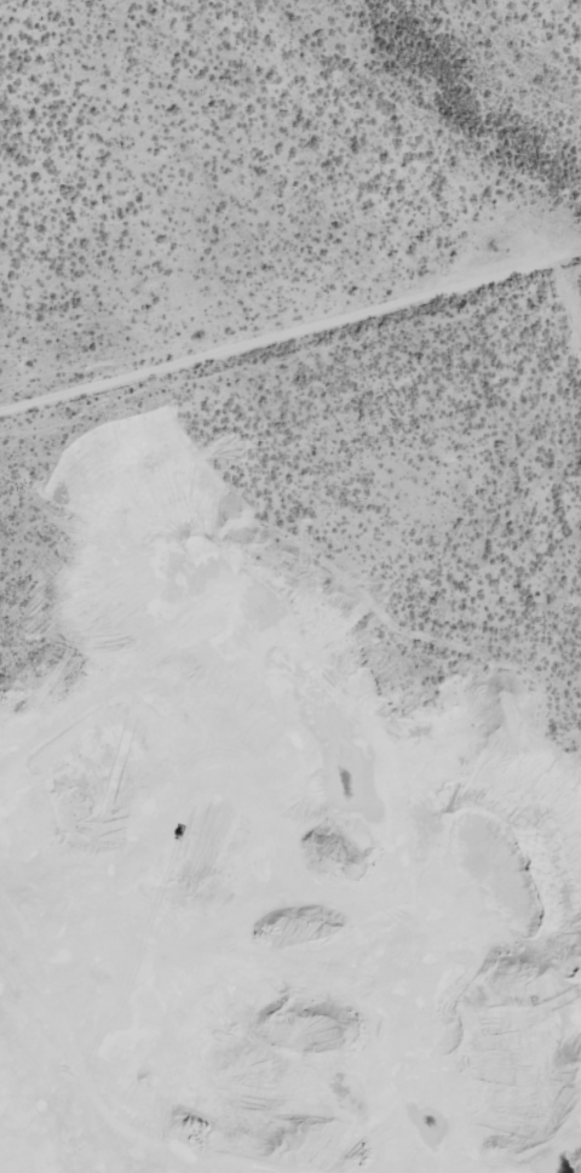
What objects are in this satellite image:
road: (569, 275)
road: (290, 330)

